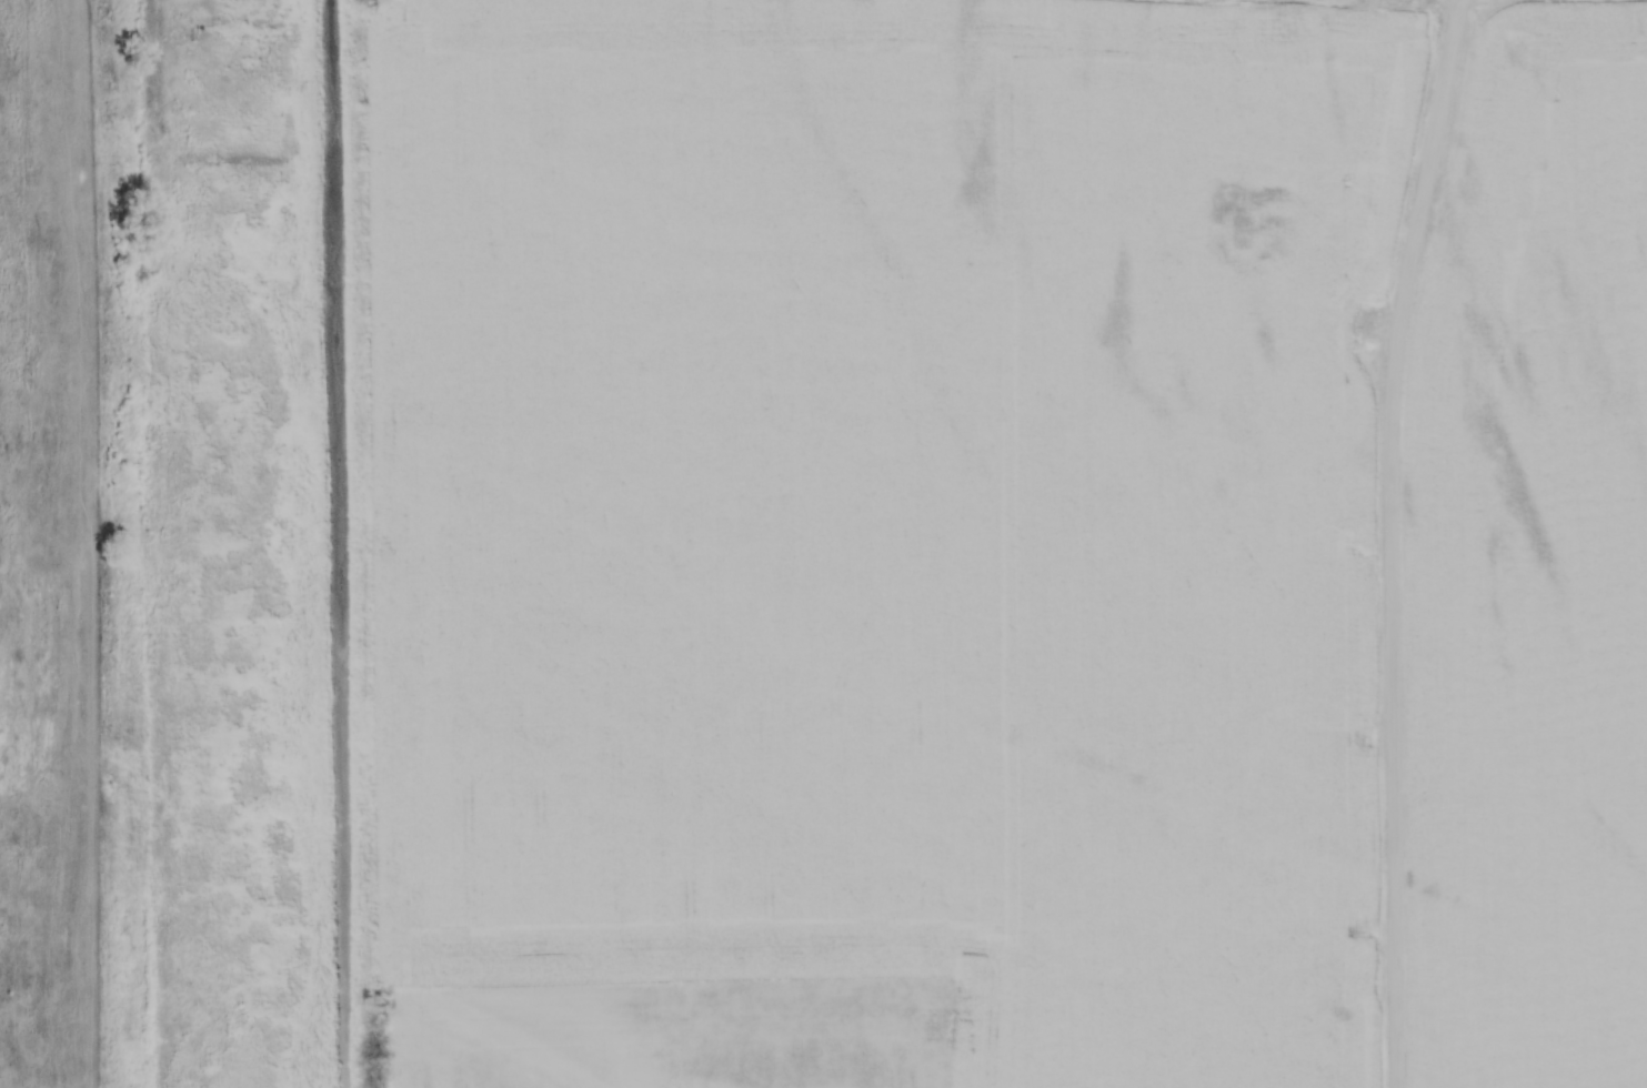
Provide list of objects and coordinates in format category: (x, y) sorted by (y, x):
road: (1387, 541)

